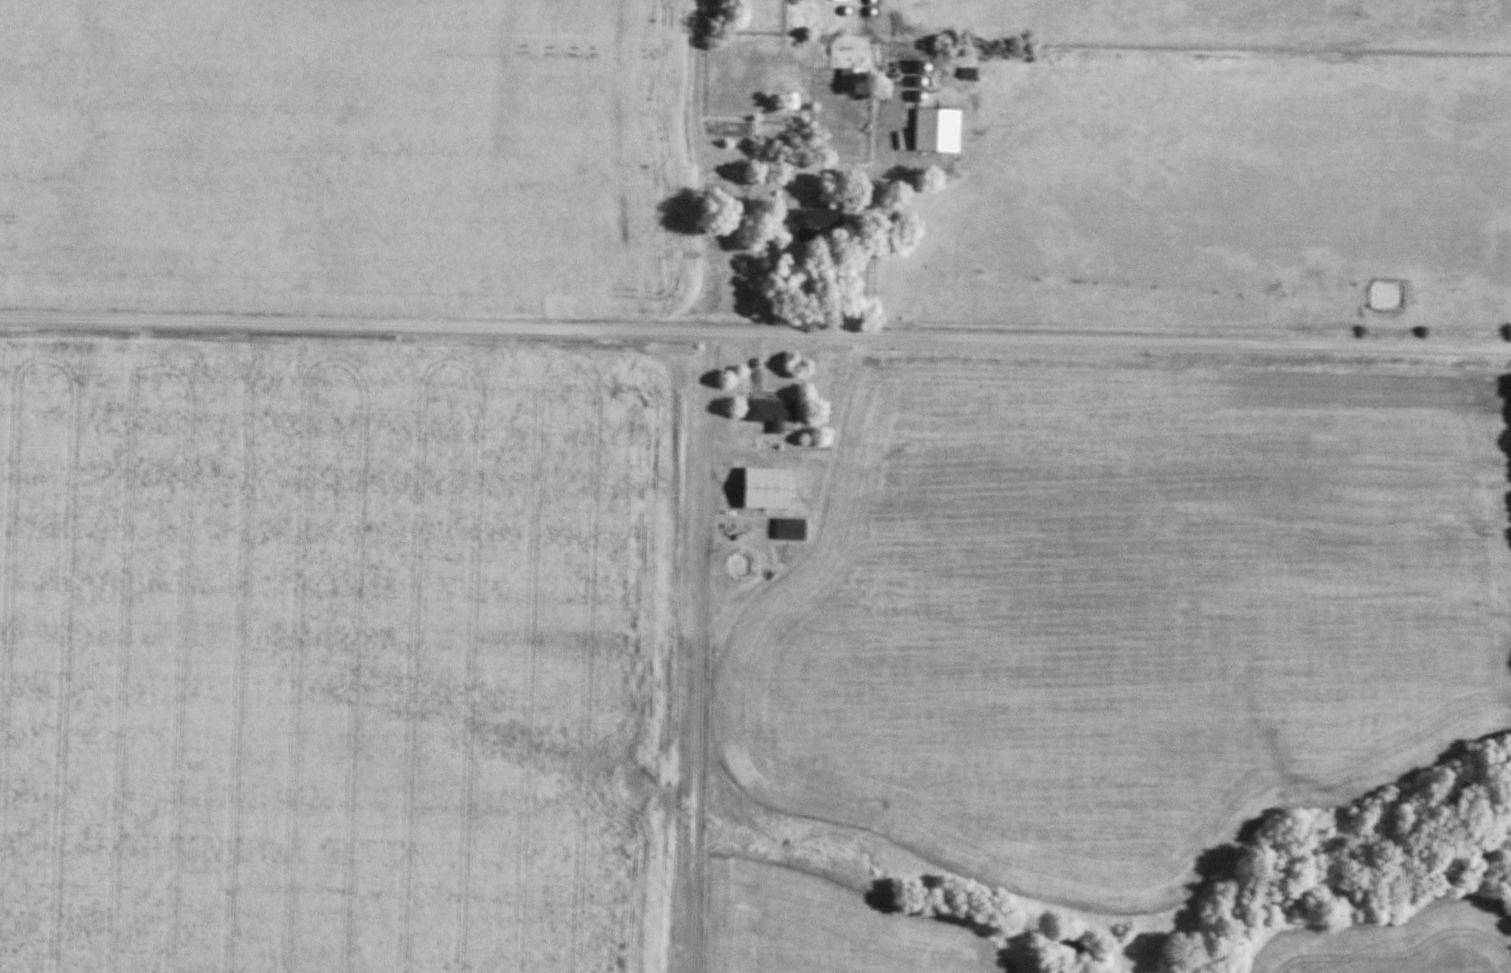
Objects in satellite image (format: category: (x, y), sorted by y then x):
building: (841, 0)
building: (924, 67)
building: (969, 72)
building: (853, 81)
building: (791, 100)
building: (938, 130)
road: (802, 164)
building: (817, 220)
road: (755, 332)
building: (774, 412)
building: (751, 488)
building: (791, 528)
road: (703, 651)

